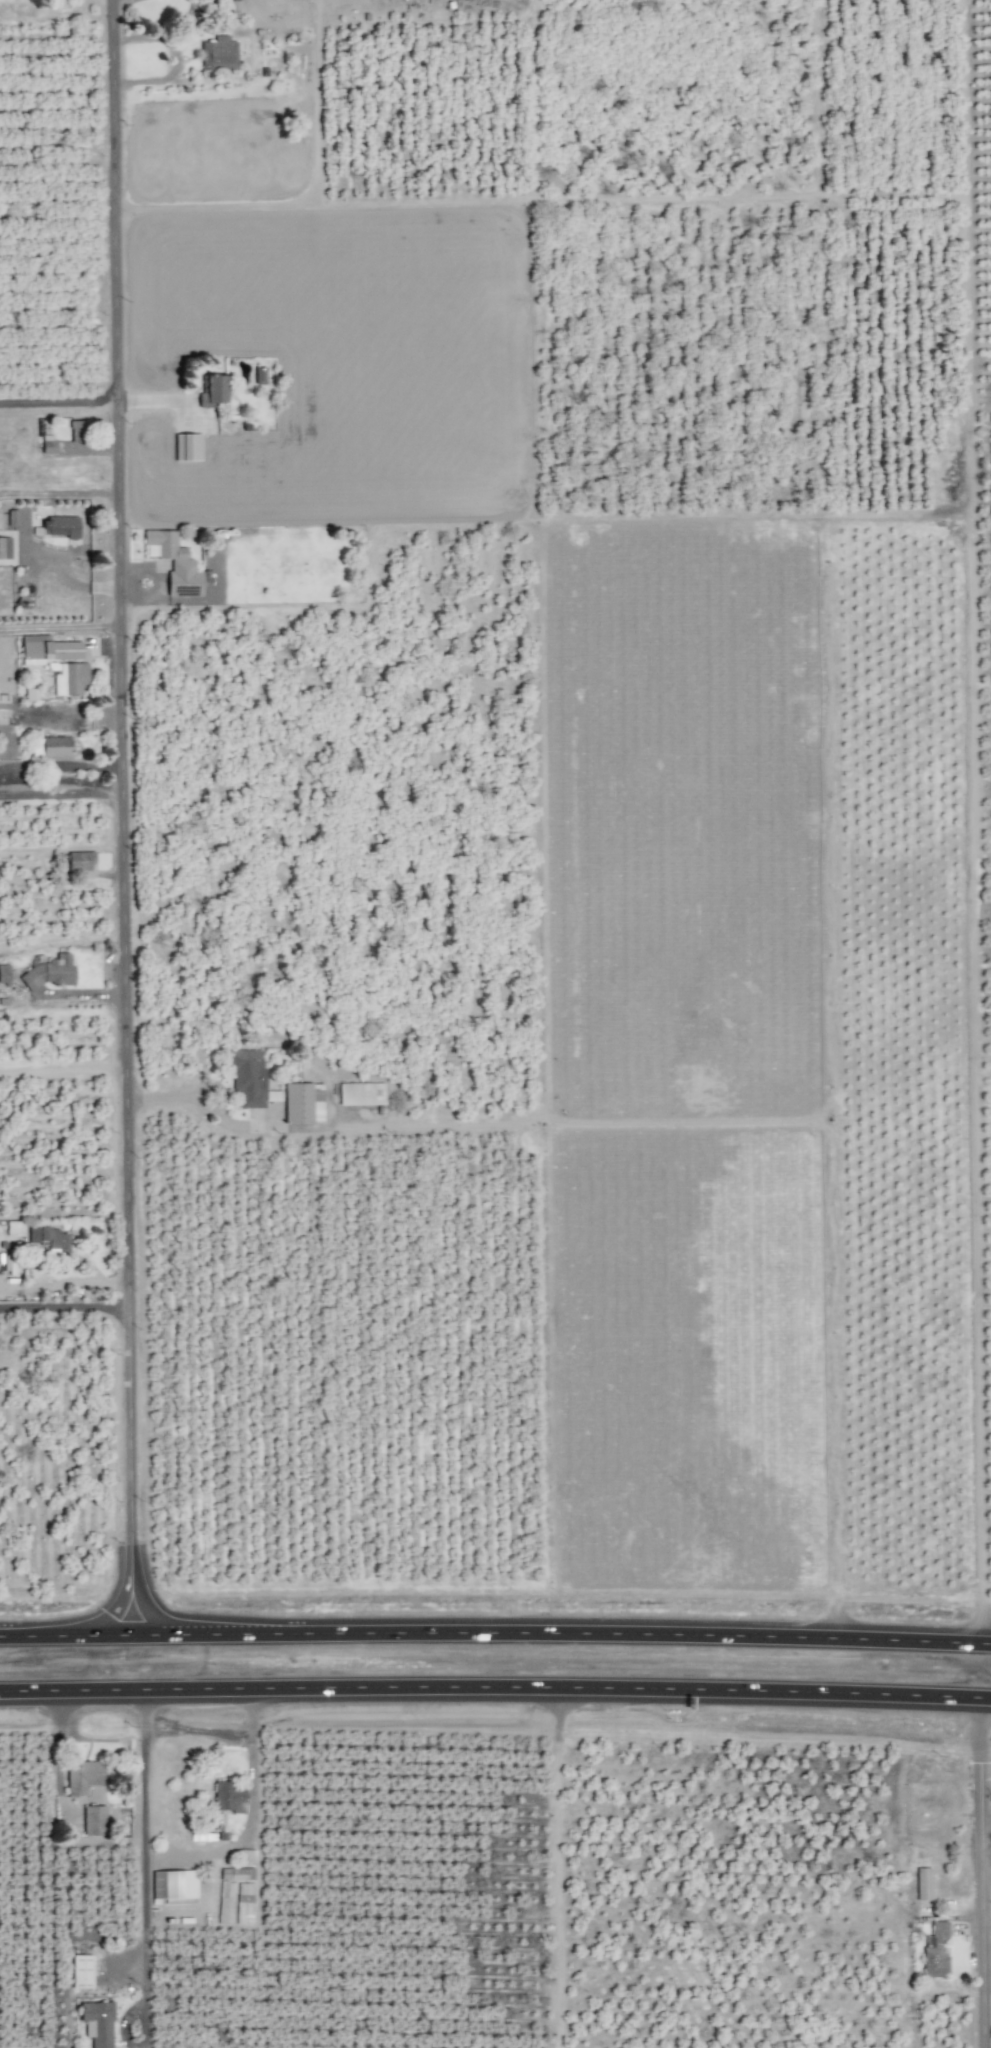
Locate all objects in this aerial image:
road: (334, 0)
building: (233, 9)
building: (218, 54)
road: (174, 58)
building: (259, 375)
building: (212, 391)
road: (167, 402)
building: (76, 431)
building: (48, 444)
building: (188, 447)
building: (57, 527)
building: (5, 548)
building: (175, 563)
road: (60, 575)
building: (47, 650)
building: (70, 679)
building: (30, 694)
building: (3, 706)
building: (55, 746)
road: (61, 792)
road: (122, 817)
building: (80, 863)
building: (50, 971)
building: (4, 974)
crop: (487, 1009)
building: (248, 1078)
building: (362, 1094)
building: (303, 1103)
building: (14, 1228)
building: (49, 1237)
road: (64, 1307)
road: (495, 1633)
road: (495, 1688)
building: (82, 1777)
building: (227, 1796)
building: (94, 1820)
road: (985, 1853)
road: (145, 1867)
road: (979, 1872)
building: (922, 1884)
building: (174, 1885)
building: (244, 1903)
building: (935, 1951)
building: (81, 1971)
road: (985, 1972)
building: (97, 2023)
road: (986, 2041)

